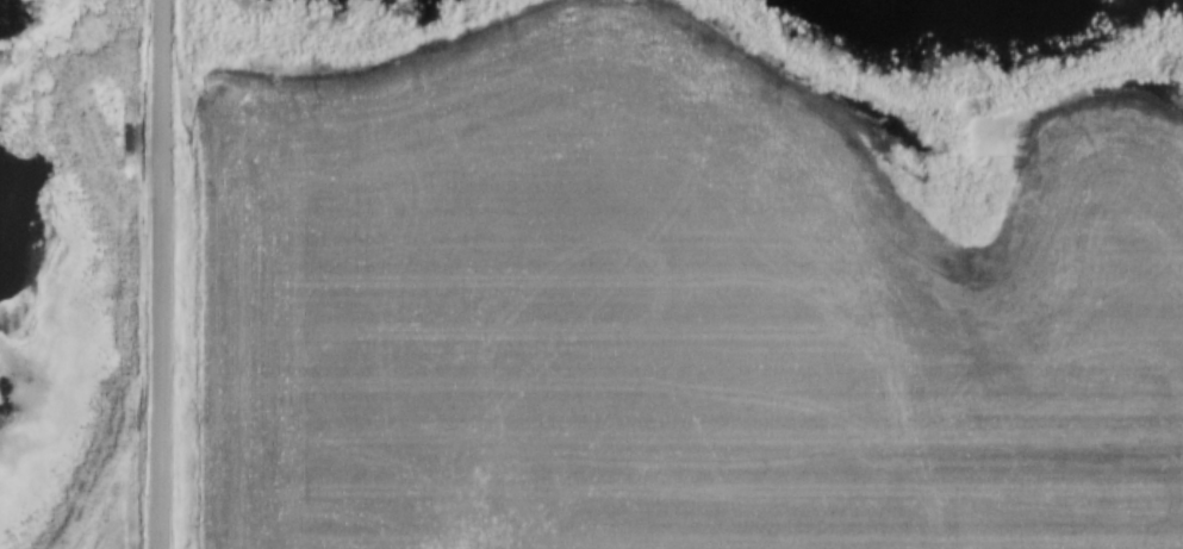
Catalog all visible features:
road: (162, 274)

